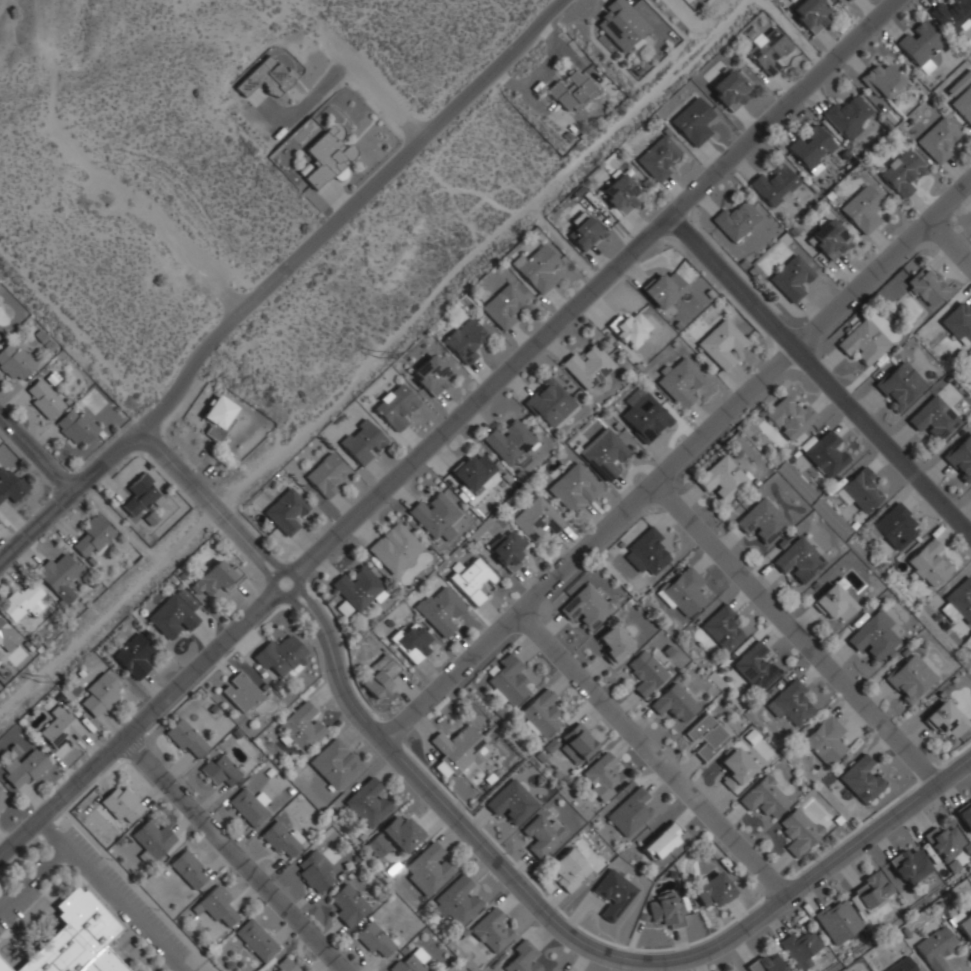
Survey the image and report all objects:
building: (850, 0)
building: (69, 10)
building: (810, 14)
building: (953, 15)
building: (623, 25)
building: (87, 41)
building: (919, 42)
building: (767, 48)
road: (358, 70)
building: (101, 75)
building: (4, 76)
building: (266, 78)
building: (883, 81)
building: (730, 90)
building: (573, 91)
building: (963, 104)
building: (120, 109)
building: (10, 110)
building: (849, 115)
building: (693, 122)
building: (941, 137)
building: (137, 142)
building: (811, 146)
building: (21, 147)
building: (658, 158)
building: (327, 159)
building: (159, 173)
building: (902, 174)
road: (98, 176)
building: (39, 182)
building: (775, 185)
building: (619, 193)
building: (178, 205)
road: (344, 210)
building: (863, 210)
building: (60, 213)
building: (424, 216)
building: (735, 221)
building: (585, 231)
road: (955, 236)
building: (829, 239)
building: (198, 240)
building: (78, 246)
building: (537, 268)
building: (225, 272)
building: (368, 275)
building: (791, 278)
building: (100, 280)
building: (927, 288)
building: (663, 289)
building: (503, 306)
building: (120, 312)
building: (959, 323)
building: (630, 330)
building: (465, 340)
building: (148, 342)
building: (863, 342)
building: (721, 343)
building: (14, 361)
power tower: (382, 363)
building: (588, 367)
road: (822, 369)
building: (431, 376)
building: (681, 382)
building: (901, 387)
building: (42, 399)
building: (549, 404)
building: (395, 406)
building: (644, 415)
building: (217, 416)
building: (790, 417)
building: (933, 419)
building: (75, 428)
road: (447, 429)
building: (362, 442)
building: (509, 443)
building: (604, 454)
building: (827, 454)
road: (34, 456)
building: (961, 459)
road: (677, 463)
building: (472, 474)
building: (325, 475)
building: (722, 478)
building: (10, 485)
building: (574, 489)
building: (860, 490)
road: (68, 492)
building: (142, 495)
building: (285, 511)
building: (433, 518)
building: (537, 521)
building: (762, 523)
building: (896, 526)
building: (92, 537)
building: (393, 548)
building: (507, 550)
building: (646, 551)
building: (799, 561)
building: (929, 563)
building: (57, 576)
building: (215, 578)
building: (473, 580)
building: (356, 591)
building: (684, 592)
building: (961, 599)
building: (21, 601)
building: (837, 601)
building: (586, 607)
building: (439, 610)
building: (175, 613)
building: (722, 628)
road: (799, 635)
building: (874, 635)
building: (7, 639)
building: (411, 642)
building: (614, 643)
building: (134, 656)
building: (279, 657)
building: (754, 667)
building: (646, 674)
building: (379, 677)
building: (910, 679)
building: (507, 680)
power tower: (42, 686)
building: (242, 693)
building: (100, 694)
building: (675, 703)
building: (790, 703)
building: (540, 714)
building: (945, 720)
building: (61, 728)
building: (302, 728)
building: (706, 736)
building: (186, 739)
building: (826, 740)
building: (579, 741)
building: (458, 749)
road: (654, 752)
building: (336, 765)
building: (736, 769)
building: (23, 770)
building: (219, 770)
building: (603, 775)
building: (861, 779)
building: (765, 798)
building: (3, 802)
building: (511, 802)
building: (366, 804)
building: (121, 805)
building: (249, 806)
building: (631, 813)
building: (965, 815)
building: (798, 832)
building: (541, 835)
building: (395, 837)
building: (281, 840)
building: (152, 841)
building: (663, 841)
building: (947, 842)
road: (237, 854)
road: (500, 860)
building: (908, 865)
building: (188, 869)
building: (427, 870)
building: (313, 871)
building: (569, 871)
road: (30, 876)
building: (714, 890)
building: (871, 890)
parking lot: (25, 891)
parking lot: (126, 891)
building: (613, 894)
road: (108, 896)
building: (457, 903)
building: (215, 905)
building: (347, 905)
building: (665, 910)
building: (838, 920)
building: (965, 926)
building: (491, 930)
building: (76, 938)
building: (256, 940)
building: (374, 941)
building: (935, 948)
building: (800, 949)
building: (523, 958)
building: (411, 961)
building: (766, 965)
building: (901, 965)
building: (284, 966)
building: (3, 967)

